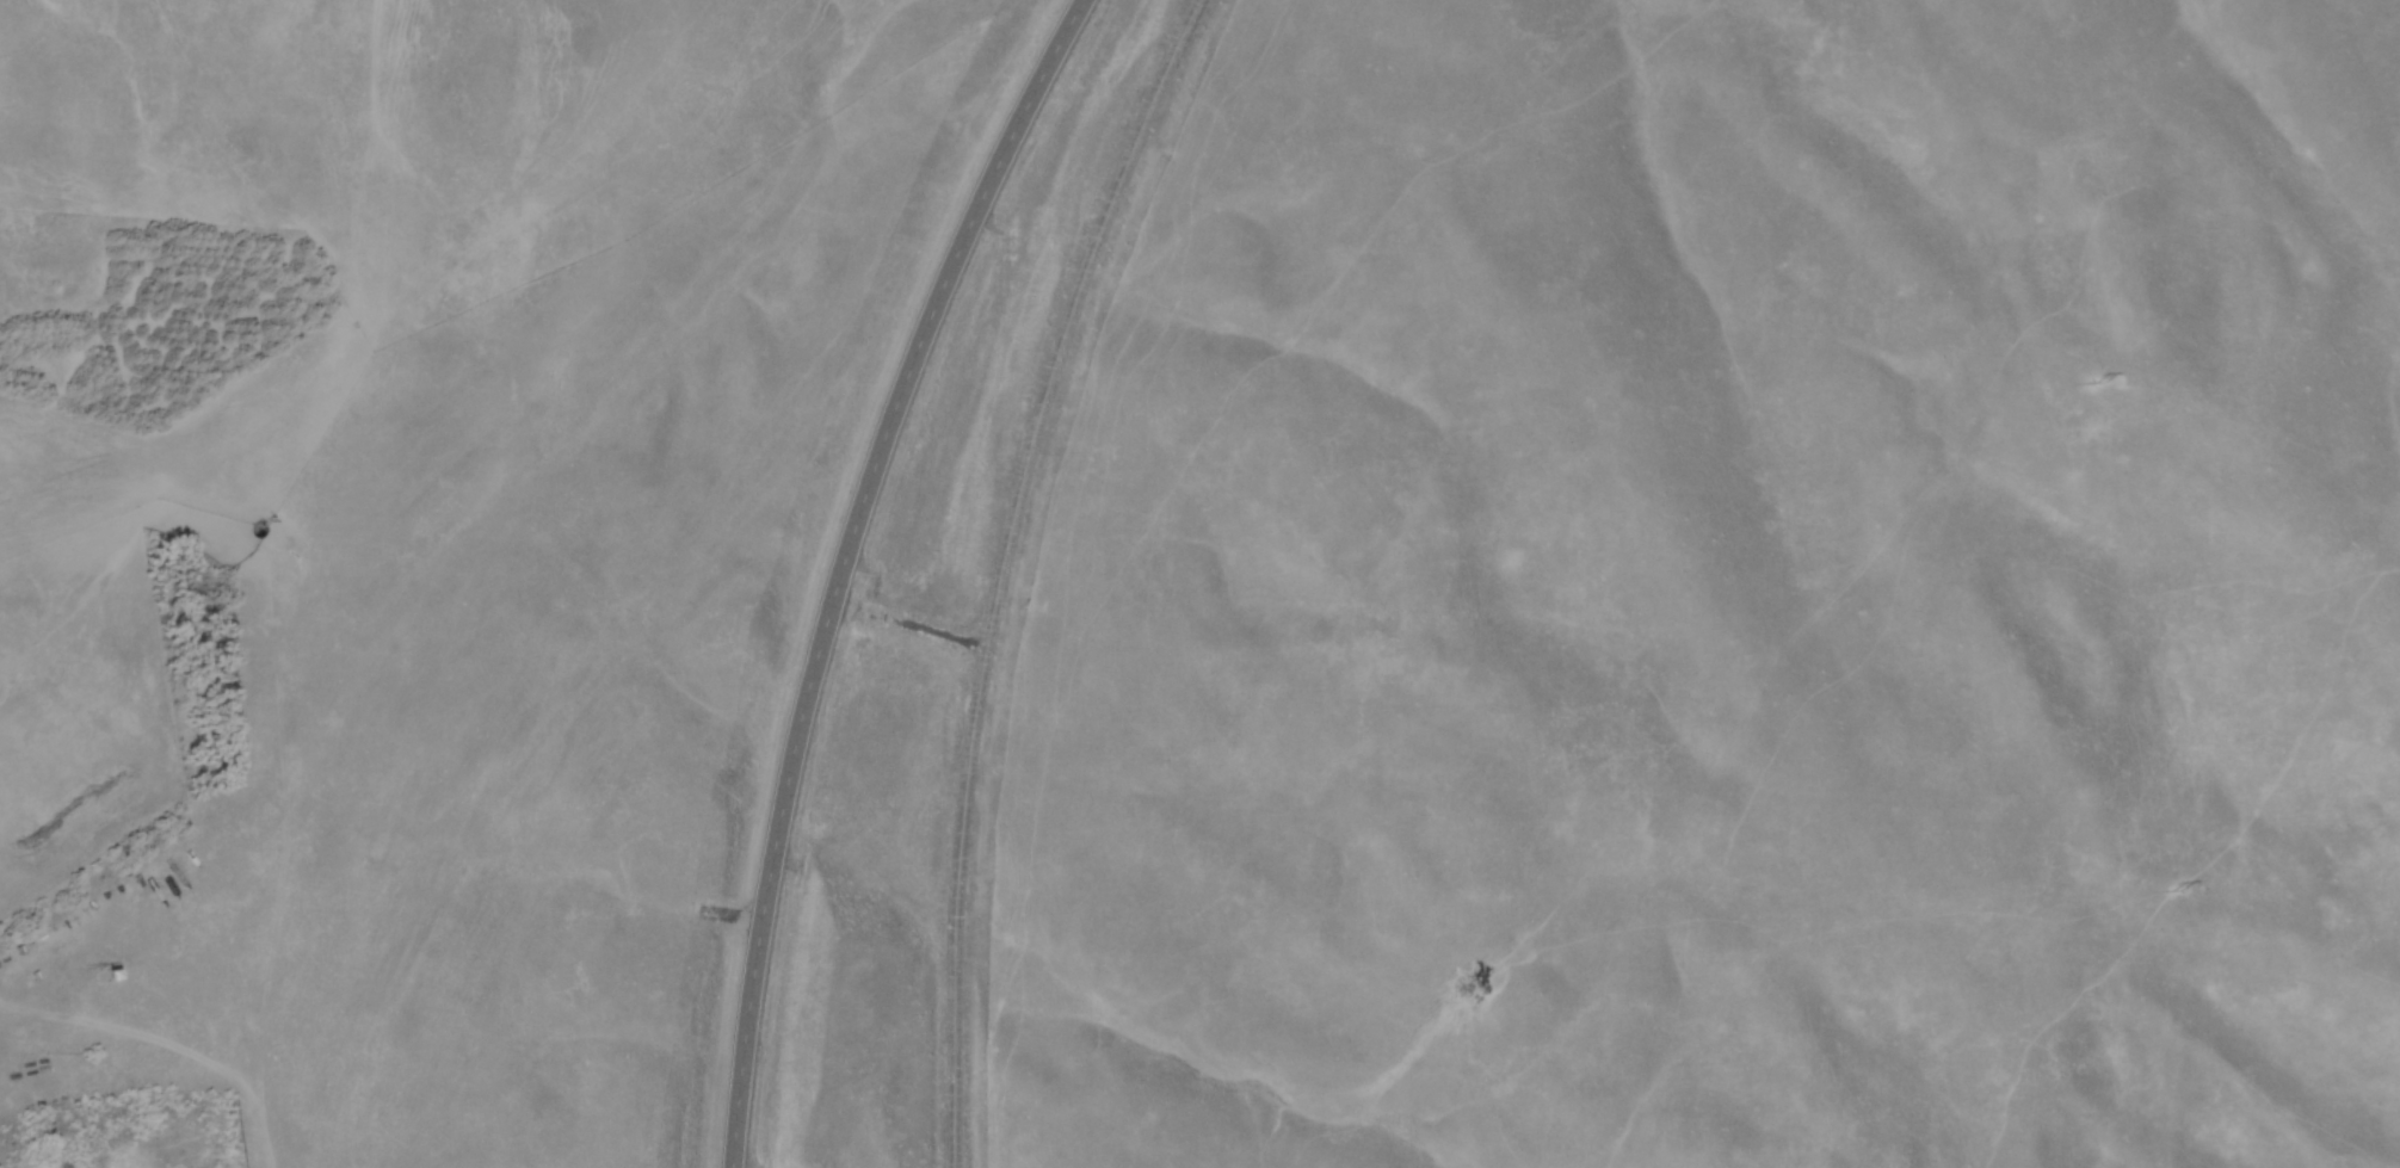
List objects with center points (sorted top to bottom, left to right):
power tower: (2099, 384)
road: (849, 563)
road: (1016, 567)
power tower: (2176, 892)

